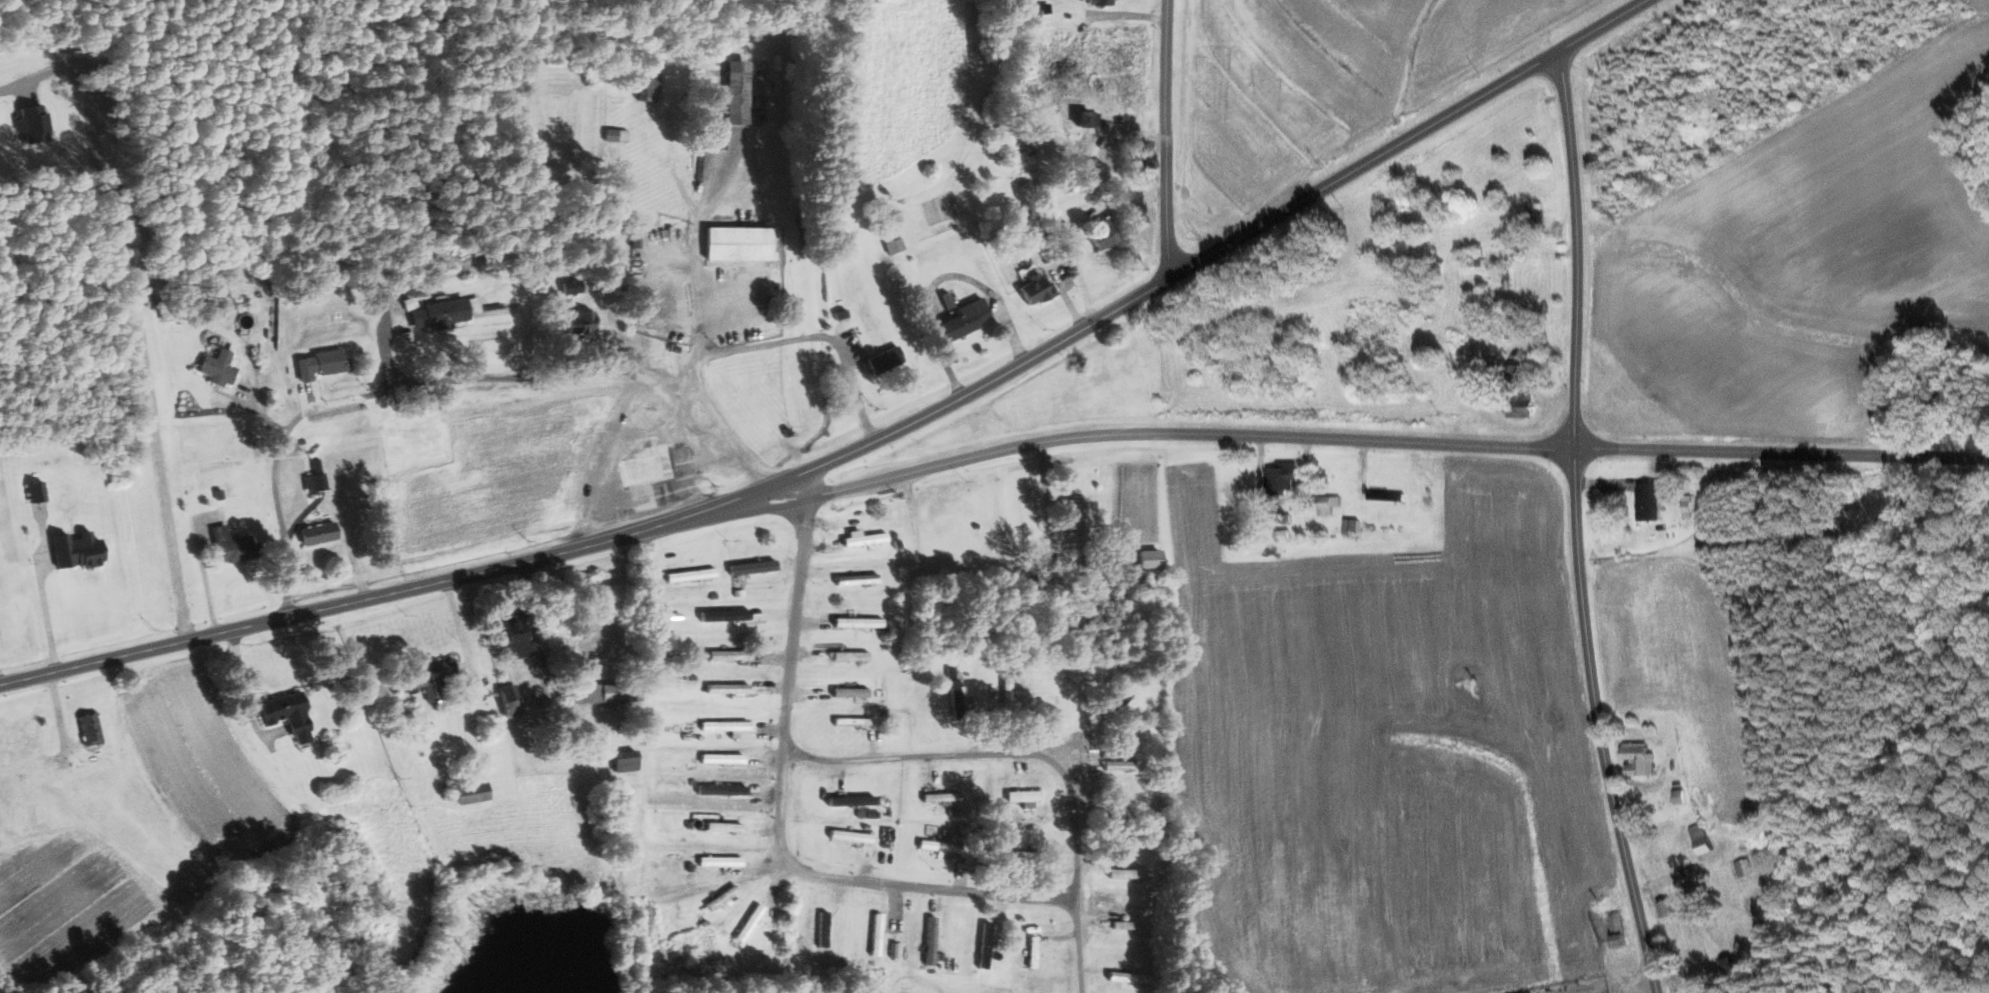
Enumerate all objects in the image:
building: (1098, 2)
road: (1605, 26)
building: (648, 85)
building: (736, 91)
building: (1685, 91)
building: (36, 124)
building: (613, 134)
road: (1167, 137)
road: (1366, 165)
building: (1099, 235)
building: (890, 241)
building: (734, 243)
building: (1505, 268)
building: (566, 286)
building: (443, 312)
building: (959, 319)
building: (577, 323)
road: (803, 335)
building: (881, 359)
building: (315, 364)
building: (221, 368)
road: (449, 382)
building: (1515, 393)
road: (1376, 442)
building: (1276, 478)
building: (312, 482)
building: (40, 492)
building: (1645, 501)
building: (1325, 505)
building: (1071, 513)
building: (1350, 526)
road: (1579, 526)
building: (313, 533)
building: (1280, 536)
road: (607, 537)
building: (862, 539)
building: (235, 545)
building: (82, 551)
building: (1143, 559)
building: (749, 567)
building: (688, 575)
road: (204, 578)
building: (853, 579)
road: (43, 594)
building: (854, 622)
road: (458, 629)
building: (508, 637)
building: (725, 655)
building: (848, 656)
building: (423, 675)
building: (726, 689)
road: (240, 693)
building: (848, 693)
building: (596, 694)
building: (959, 697)
building: (506, 700)
building: (283, 715)
building: (848, 722)
building: (722, 726)
building: (94, 730)
building: (24, 745)
road: (992, 753)
building: (719, 758)
building: (1635, 759)
building: (619, 761)
building: (717, 790)
building: (462, 793)
building: (1019, 796)
building: (937, 797)
building: (1677, 797)
building: (846, 801)
building: (862, 814)
building: (17, 819)
road: (777, 825)
building: (721, 827)
building: (848, 836)
building: (1697, 839)
building: (935, 847)
building: (1007, 855)
building: (716, 861)
building: (1741, 867)
building: (1662, 908)
building: (746, 924)
building: (820, 928)
building: (1614, 930)
building: (874, 935)
building: (928, 941)
building: (982, 945)
road: (1078, 948)

